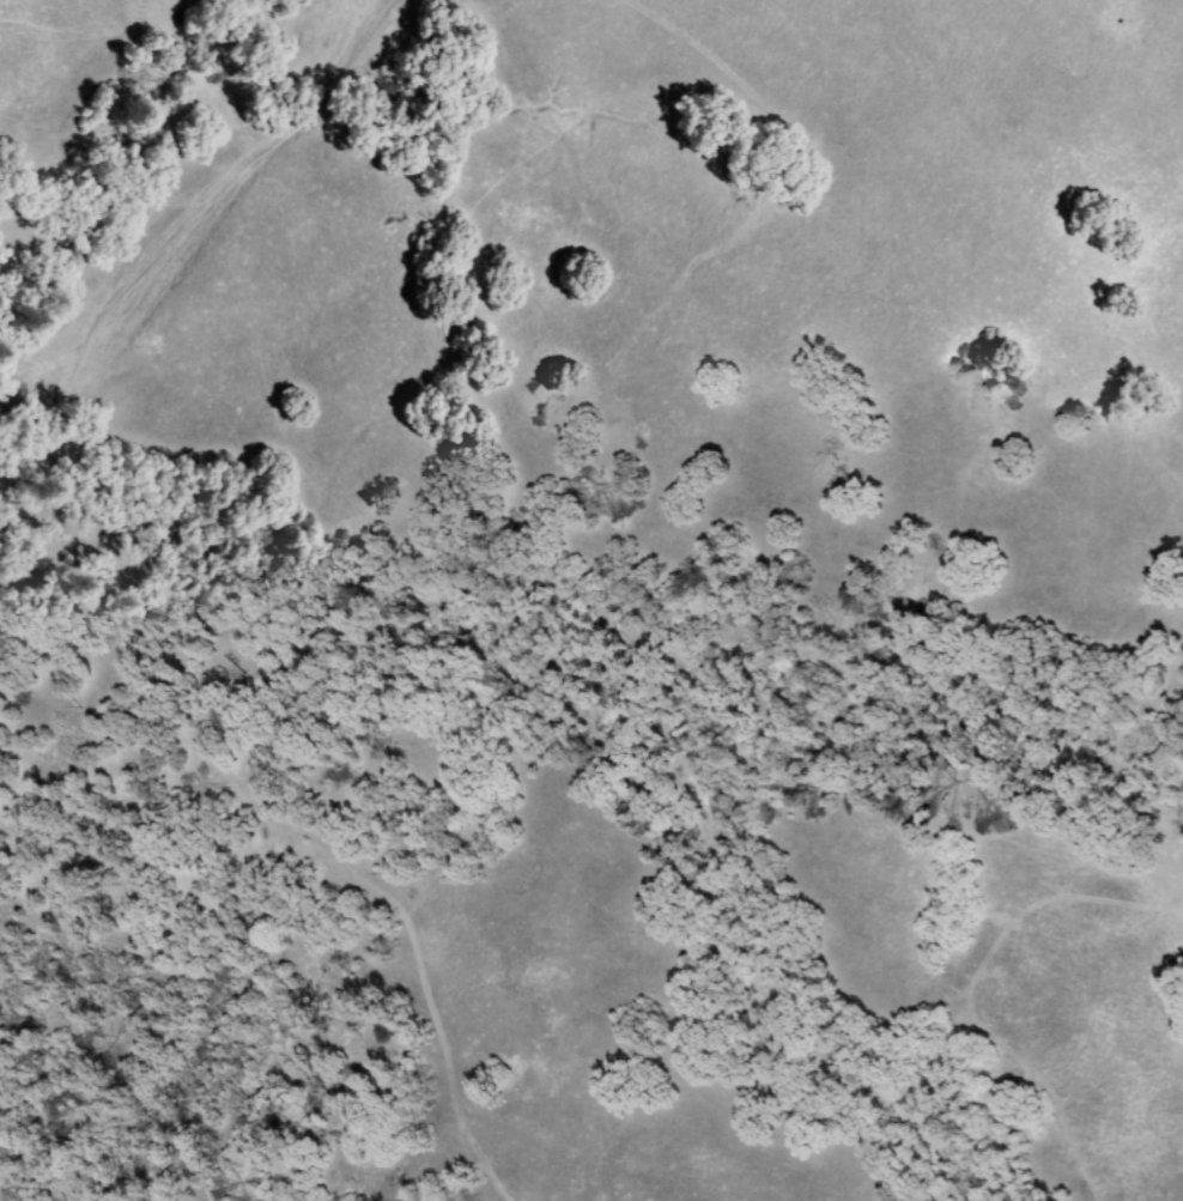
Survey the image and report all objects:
road: (186, 232)

